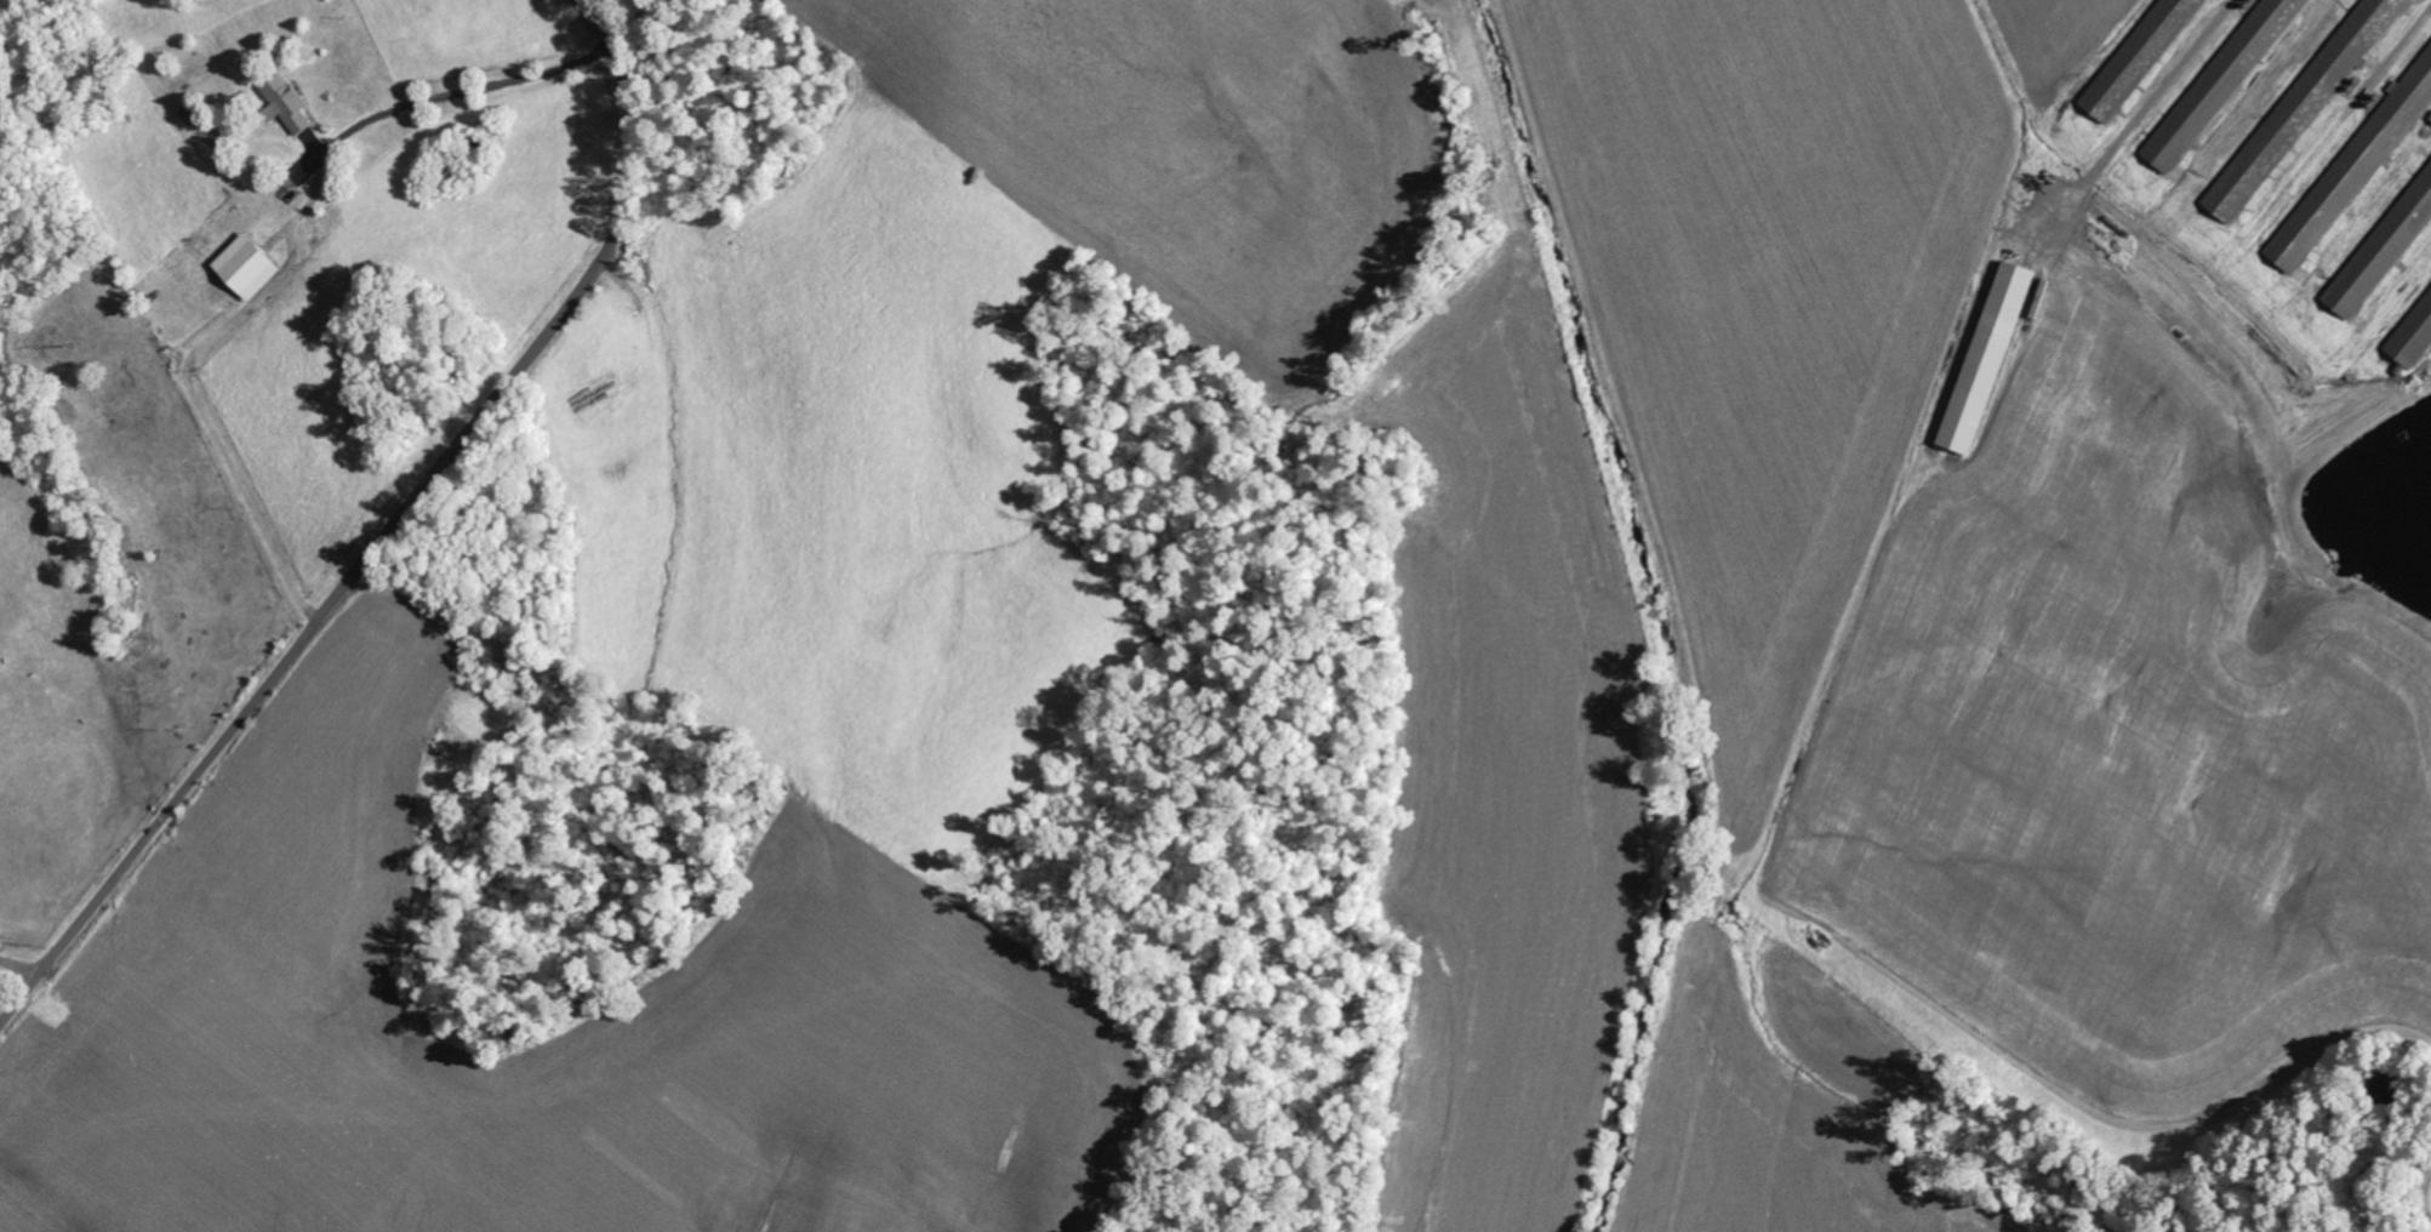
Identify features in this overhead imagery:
building: (2145, 58)
building: (2225, 82)
building: (292, 104)
building: (2306, 108)
building: (2383, 255)
building: (252, 267)
building: (2416, 341)
building: (1992, 358)
road: (390, 536)

